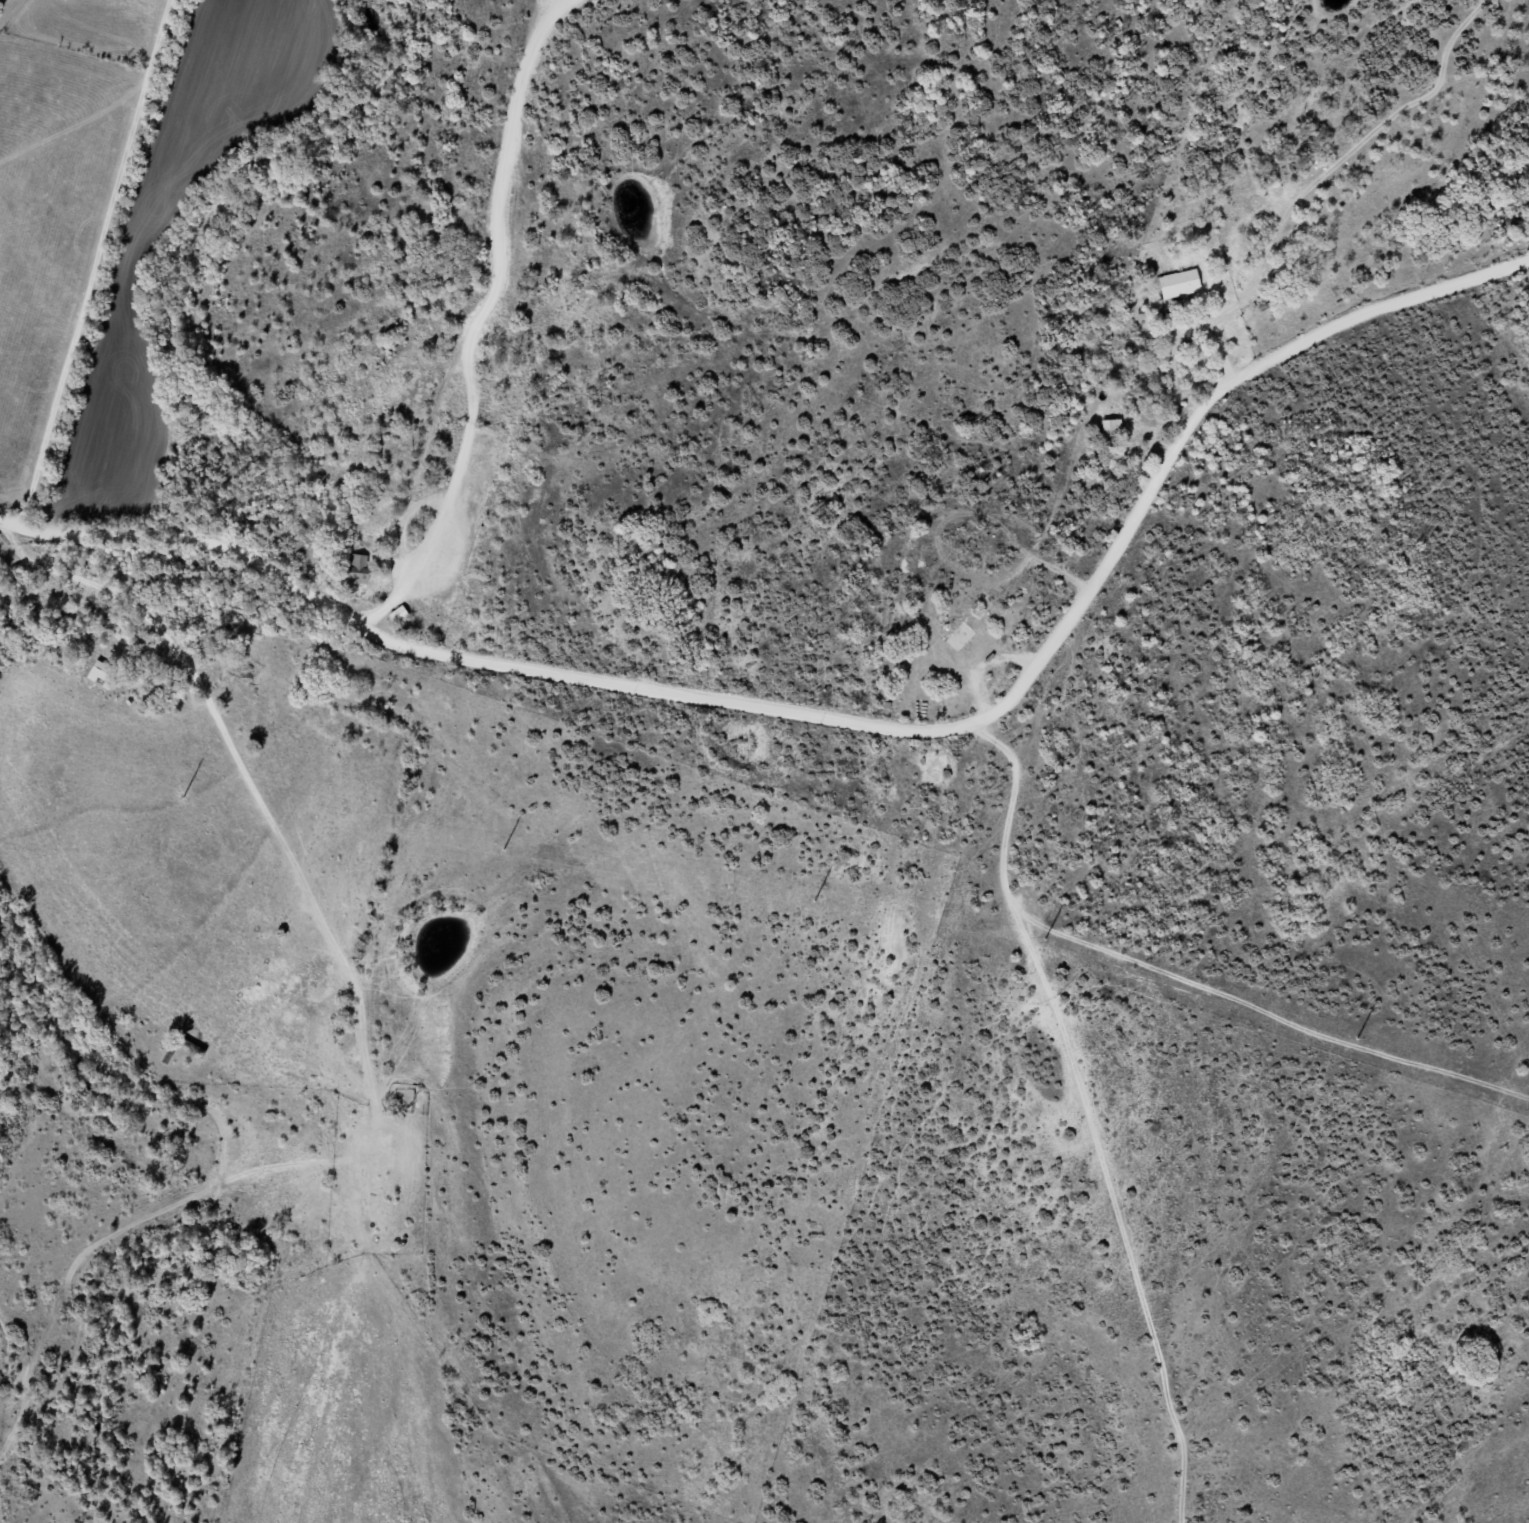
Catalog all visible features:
building: (1180, 284)
building: (1113, 428)
building: (359, 568)
building: (400, 615)
building: (962, 637)
building: (104, 675)
road: (847, 723)
power tower: (183, 796)
power tower: (503, 849)
power tower: (814, 900)
power tower: (1044, 938)
power tower: (1356, 1038)
road: (1098, 1116)

